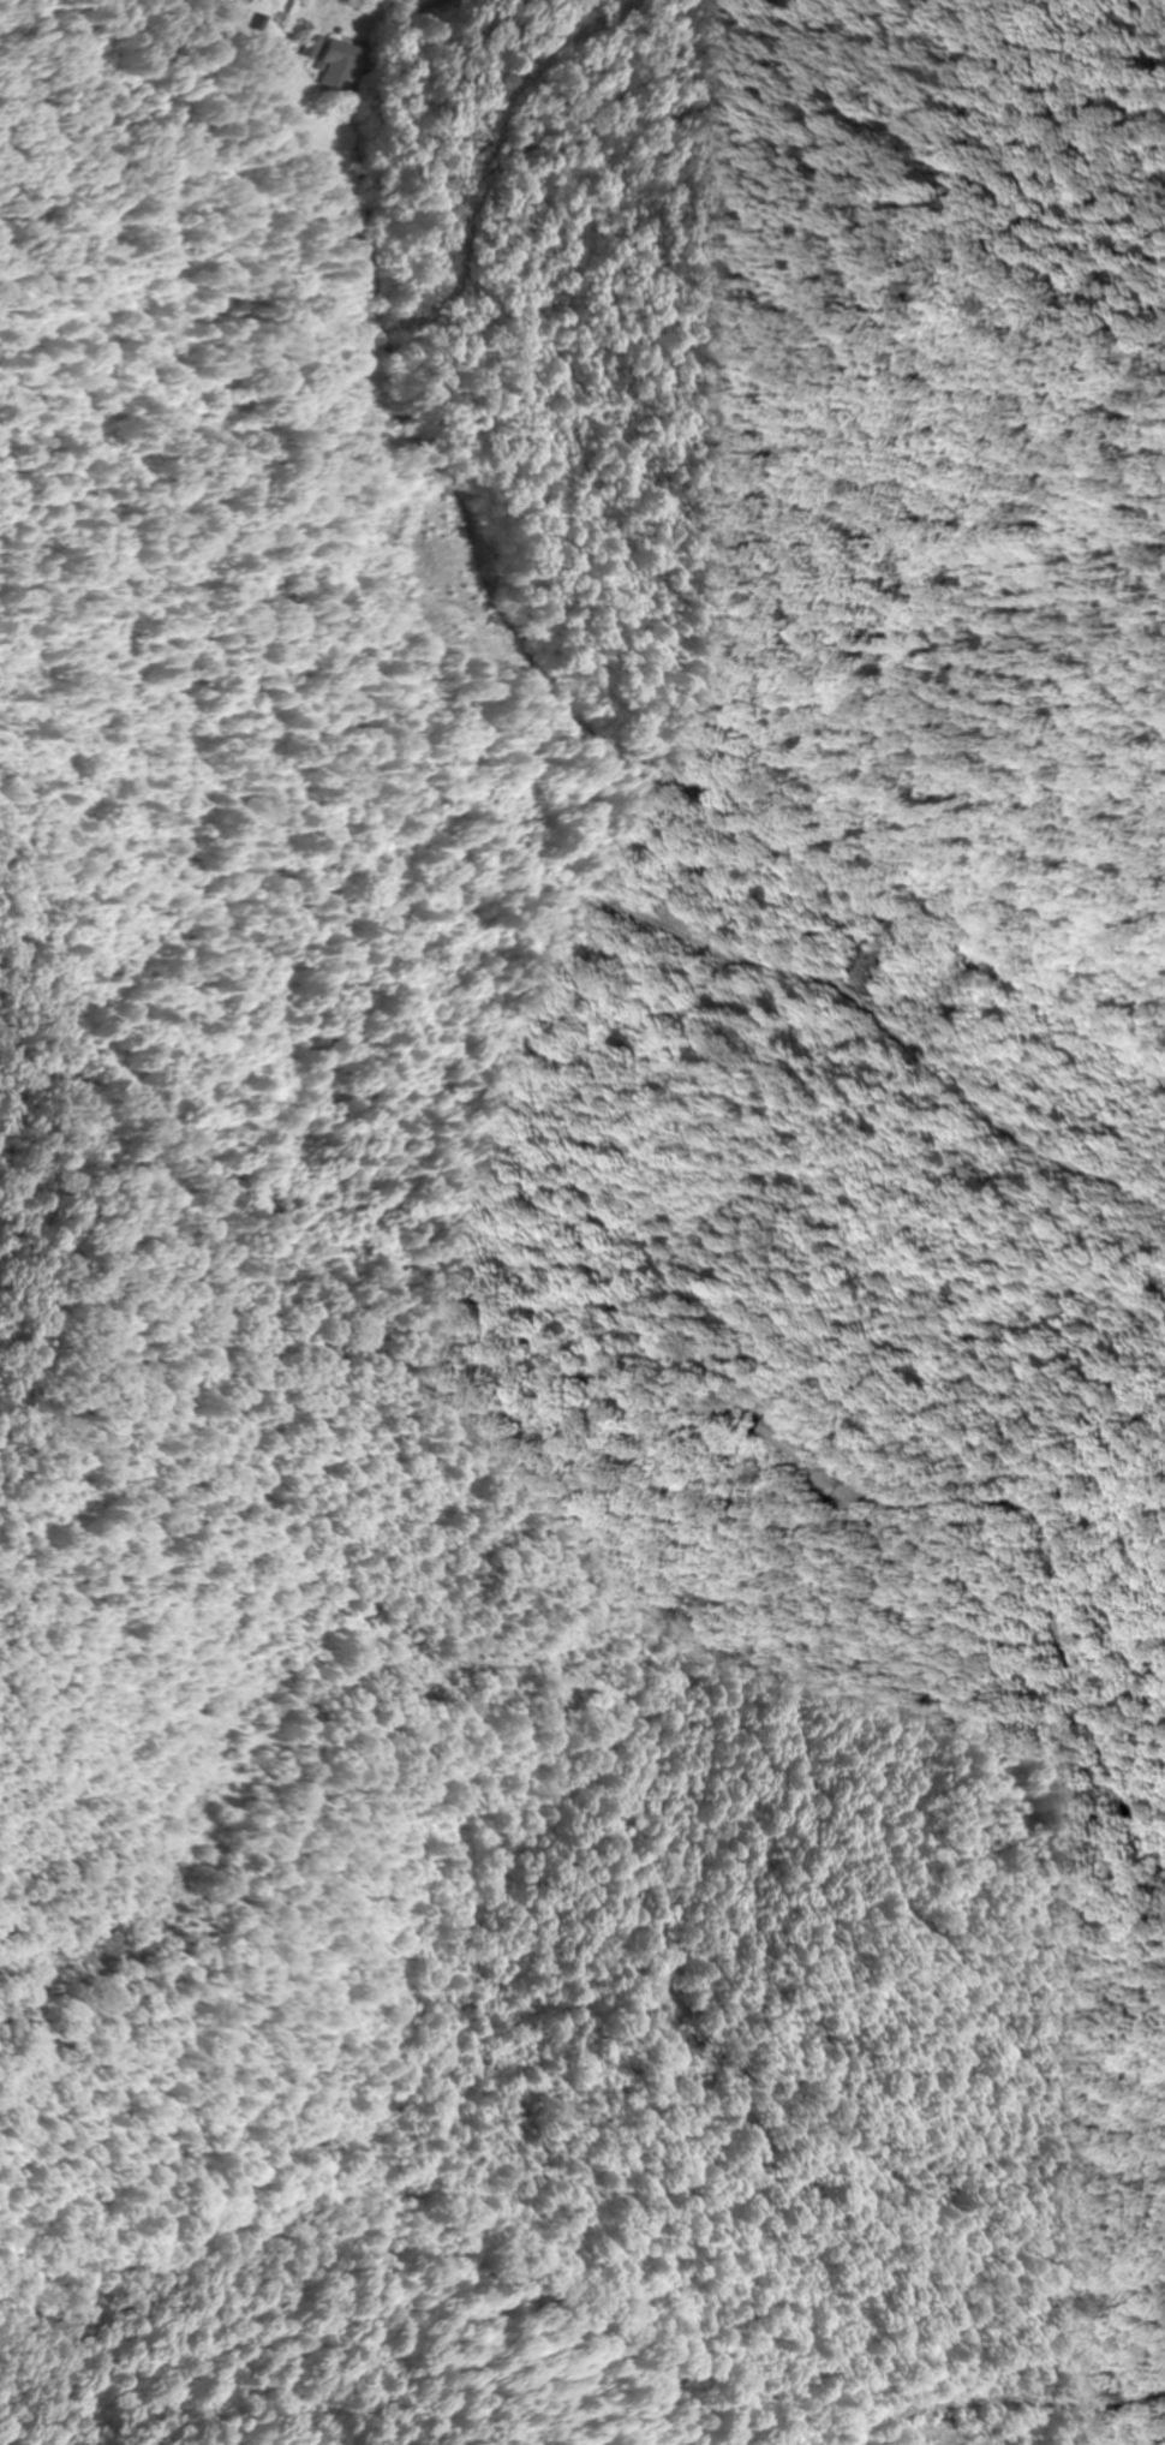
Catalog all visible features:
building: (245, 2)
building: (342, 66)
road: (662, 1421)

